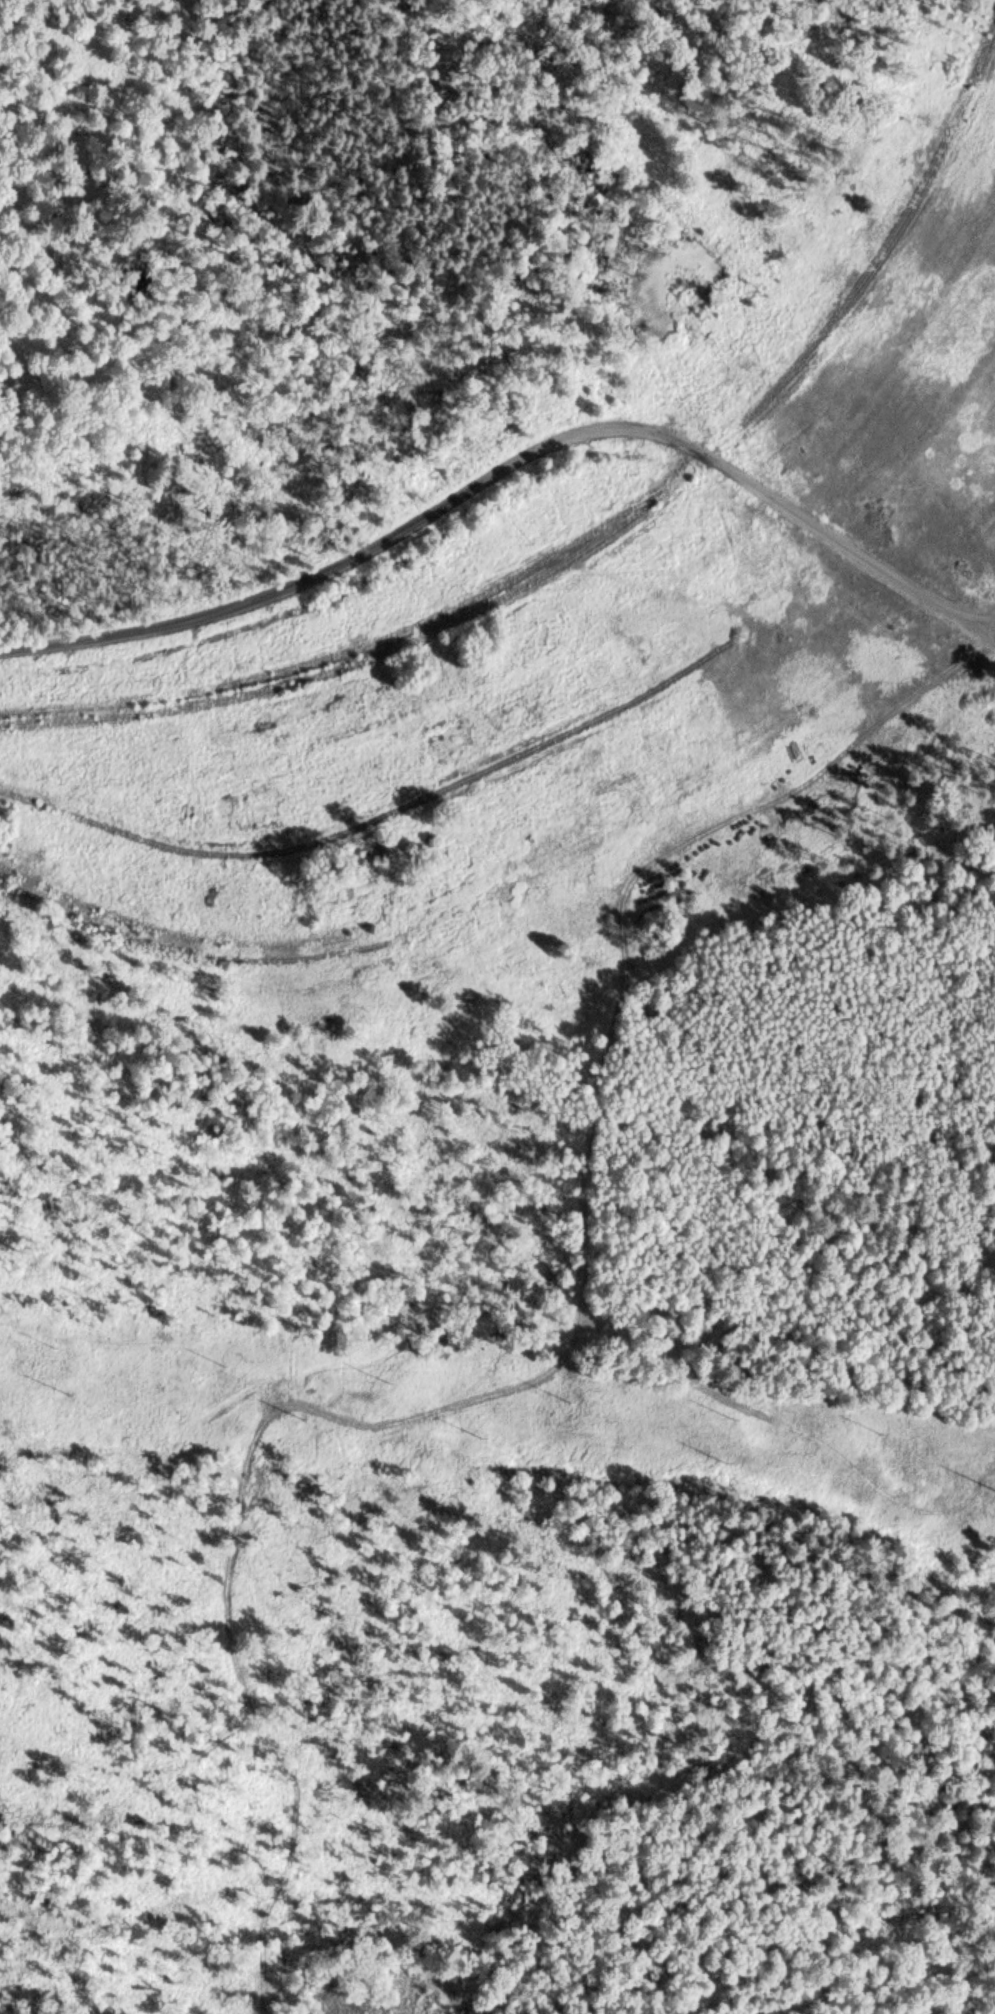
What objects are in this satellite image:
railway: (870, 268)
road: (512, 466)
railway: (361, 647)
railway: (365, 660)
railway: (375, 818)
railway: (184, 939)
railway: (187, 955)

